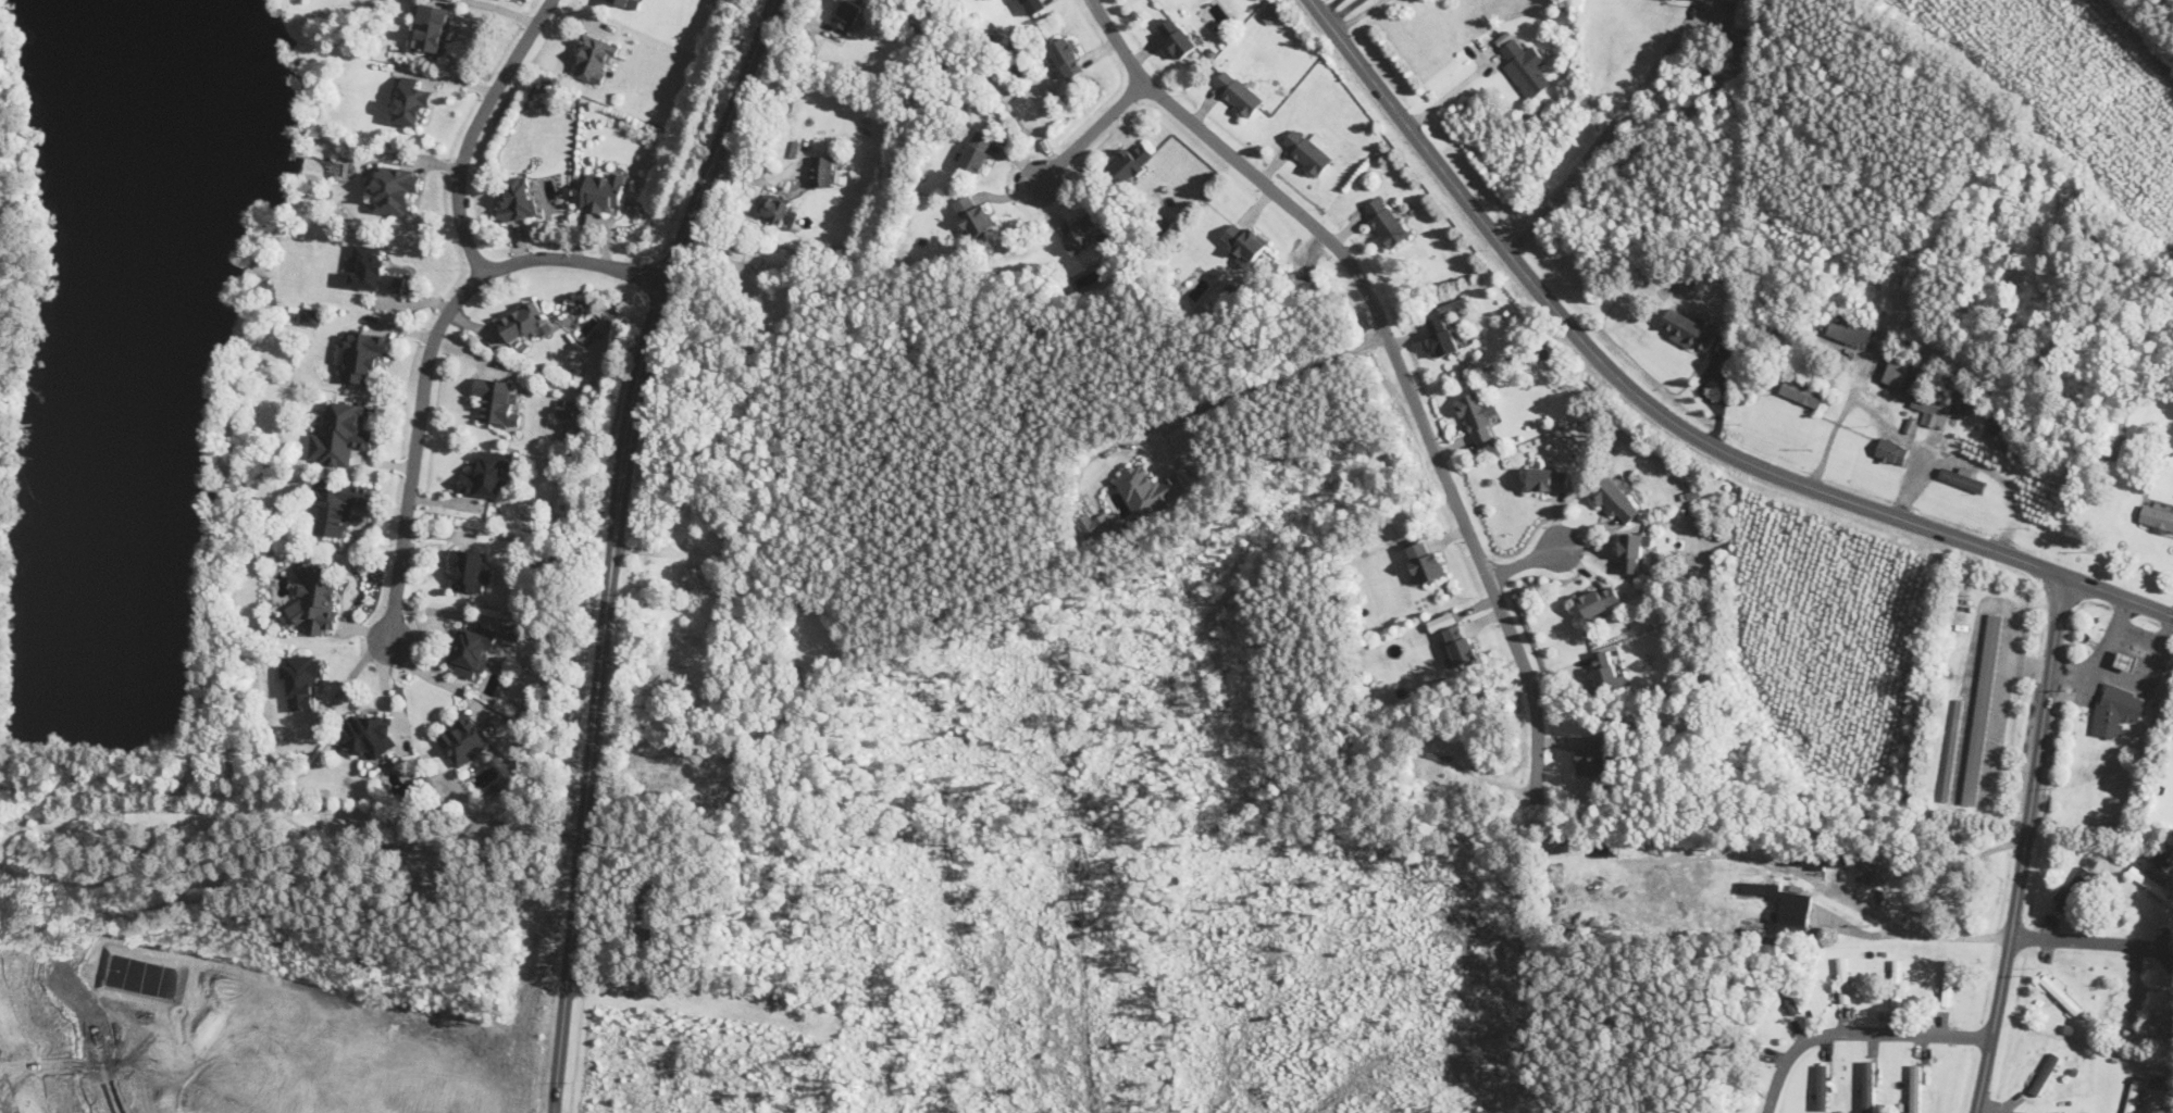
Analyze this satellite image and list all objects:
building: (630, 3)
building: (1035, 4)
road: (1329, 5)
building: (1271, 10)
building: (1746, 13)
building: (847, 14)
building: (434, 27)
building: (1178, 36)
building: (1068, 55)
building: (596, 57)
building: (1525, 65)
building: (1237, 92)
road: (1452, 93)
building: (411, 101)
road: (474, 129)
road: (1092, 130)
road: (720, 140)
road: (1593, 143)
building: (978, 150)
building: (1306, 150)
building: (1132, 161)
building: (822, 170)
building: (393, 188)
building: (604, 192)
building: (518, 198)
building: (778, 208)
building: (973, 215)
building: (1383, 222)
building: (1083, 233)
building: (1244, 240)
building: (373, 270)
building: (753, 271)
building: (310, 316)
building: (524, 321)
road: (656, 322)
building: (1688, 328)
building: (1849, 329)
building: (1442, 334)
road: (430, 352)
road: (1395, 352)
building: (361, 354)
building: (1898, 371)
road: (1264, 383)
building: (1802, 390)
building: (498, 400)
building: (566, 407)
building: (1938, 407)
building: (1478, 415)
road: (1664, 415)
building: (1999, 421)
building: (342, 434)
building: (1891, 451)
building: (488, 473)
building: (1963, 477)
building: (1549, 478)
building: (1148, 489)
building: (1616, 500)
building: (334, 505)
building: (2157, 516)
building: (1096, 525)
building: (1631, 552)
building: (1425, 561)
road: (1524, 561)
building: (472, 570)
building: (316, 598)
building: (1599, 600)
building: (1442, 620)
building: (1461, 643)
road: (2135, 645)
building: (472, 649)
building: (2125, 661)
building: (1605, 672)
road: (2124, 672)
road: (352, 675)
building: (301, 677)
road: (436, 678)
road: (2079, 678)
building: (1982, 706)
building: (2115, 710)
building: (369, 734)
road: (592, 737)
building: (464, 739)
building: (1952, 750)
building: (1591, 754)
building: (669, 770)
building: (331, 822)
road: (2024, 843)
building: (1818, 858)
building: (433, 866)
building: (1871, 868)
building: (2149, 881)
building: (2074, 889)
building: (1785, 906)
road: (1888, 914)
road: (2095, 942)
building: (1842, 979)
building: (1898, 980)
building: (1948, 981)
building: (1787, 991)
building: (2061, 993)
building: (2136, 999)
road: (1855, 1031)
building: (1739, 1036)
building: (2044, 1074)
road: (2171, 1086)
building: (1822, 1087)
building: (1868, 1087)
building: (1915, 1087)
building: (2134, 1095)
building: (2082, 1112)

